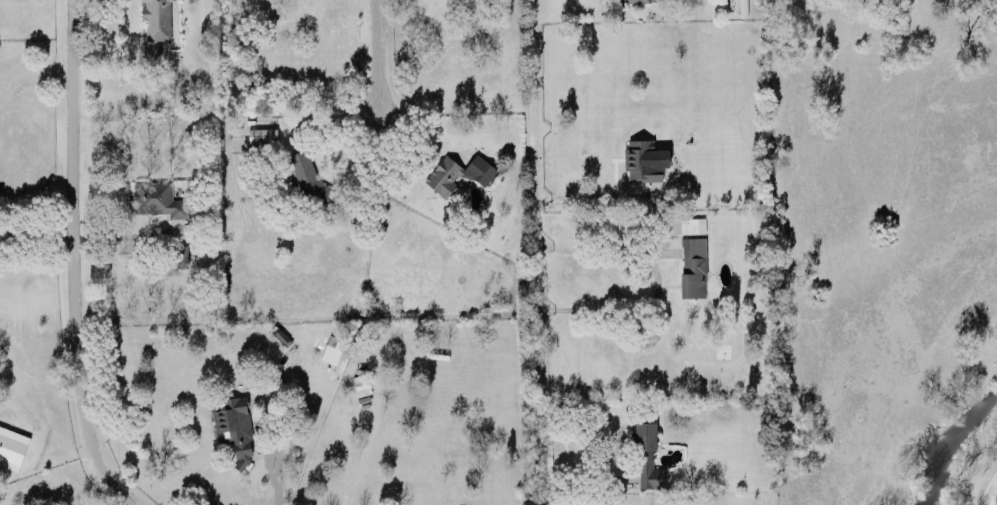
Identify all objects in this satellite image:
building: (633, 0)
building: (156, 19)
road: (375, 56)
building: (261, 134)
building: (643, 159)
building: (455, 173)
road: (597, 194)
building: (157, 198)
building: (693, 223)
road: (35, 228)
road: (125, 232)
road: (542, 252)
building: (180, 256)
road: (72, 260)
building: (693, 265)
road: (655, 278)
building: (360, 383)
building: (235, 427)
building: (11, 446)
building: (646, 455)
road: (275, 479)

